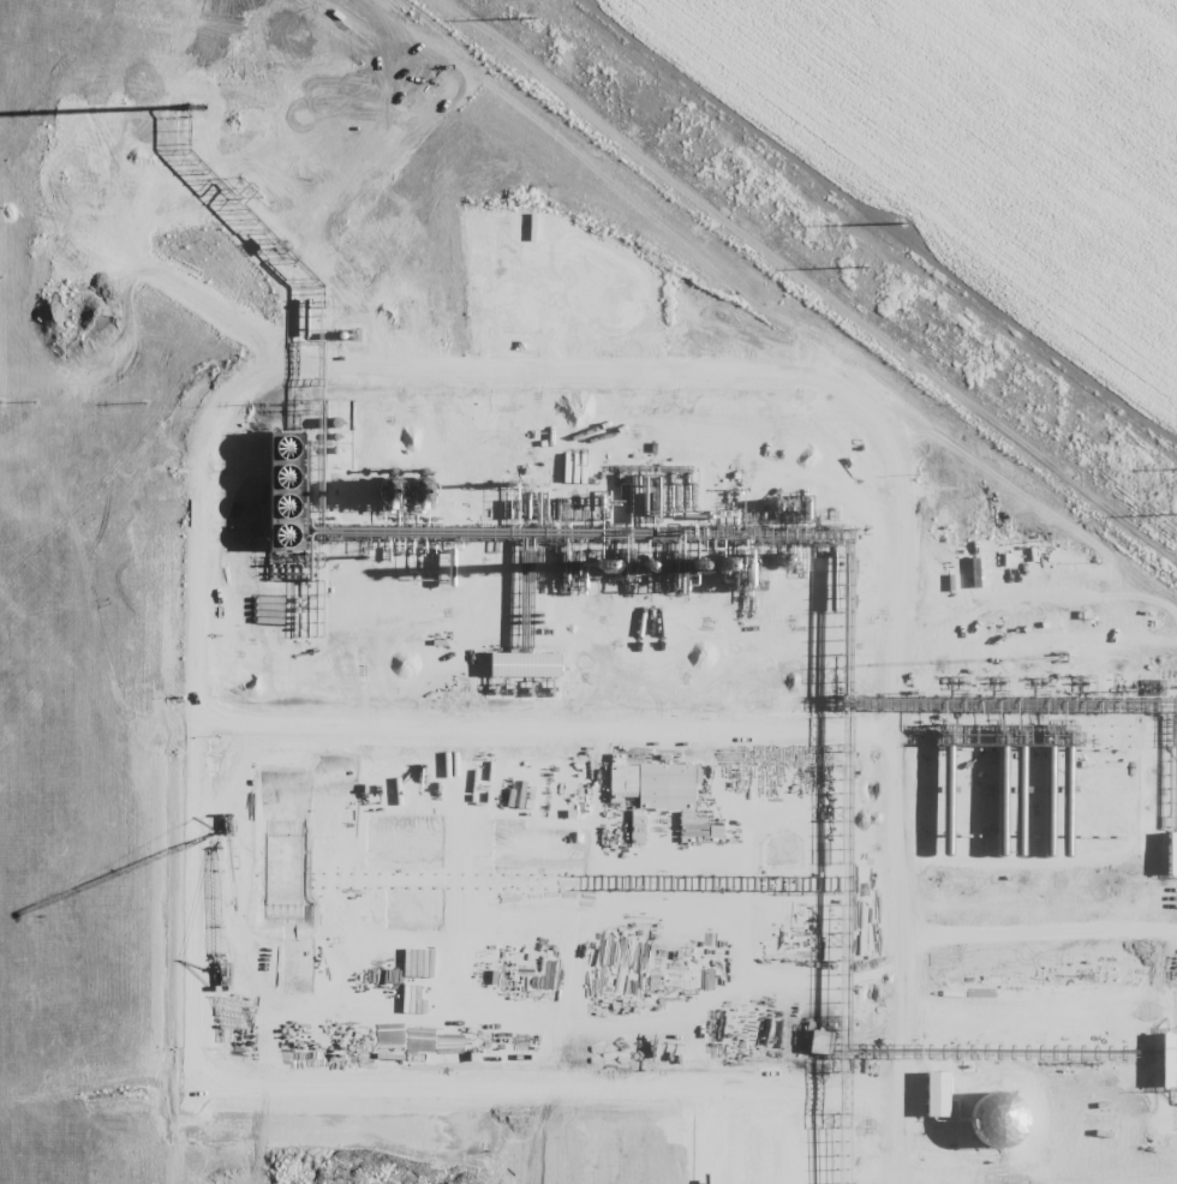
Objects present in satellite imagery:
power tower: (530, 18)
power tower: (895, 220)
power tower: (862, 265)
crop: (588, 592)

